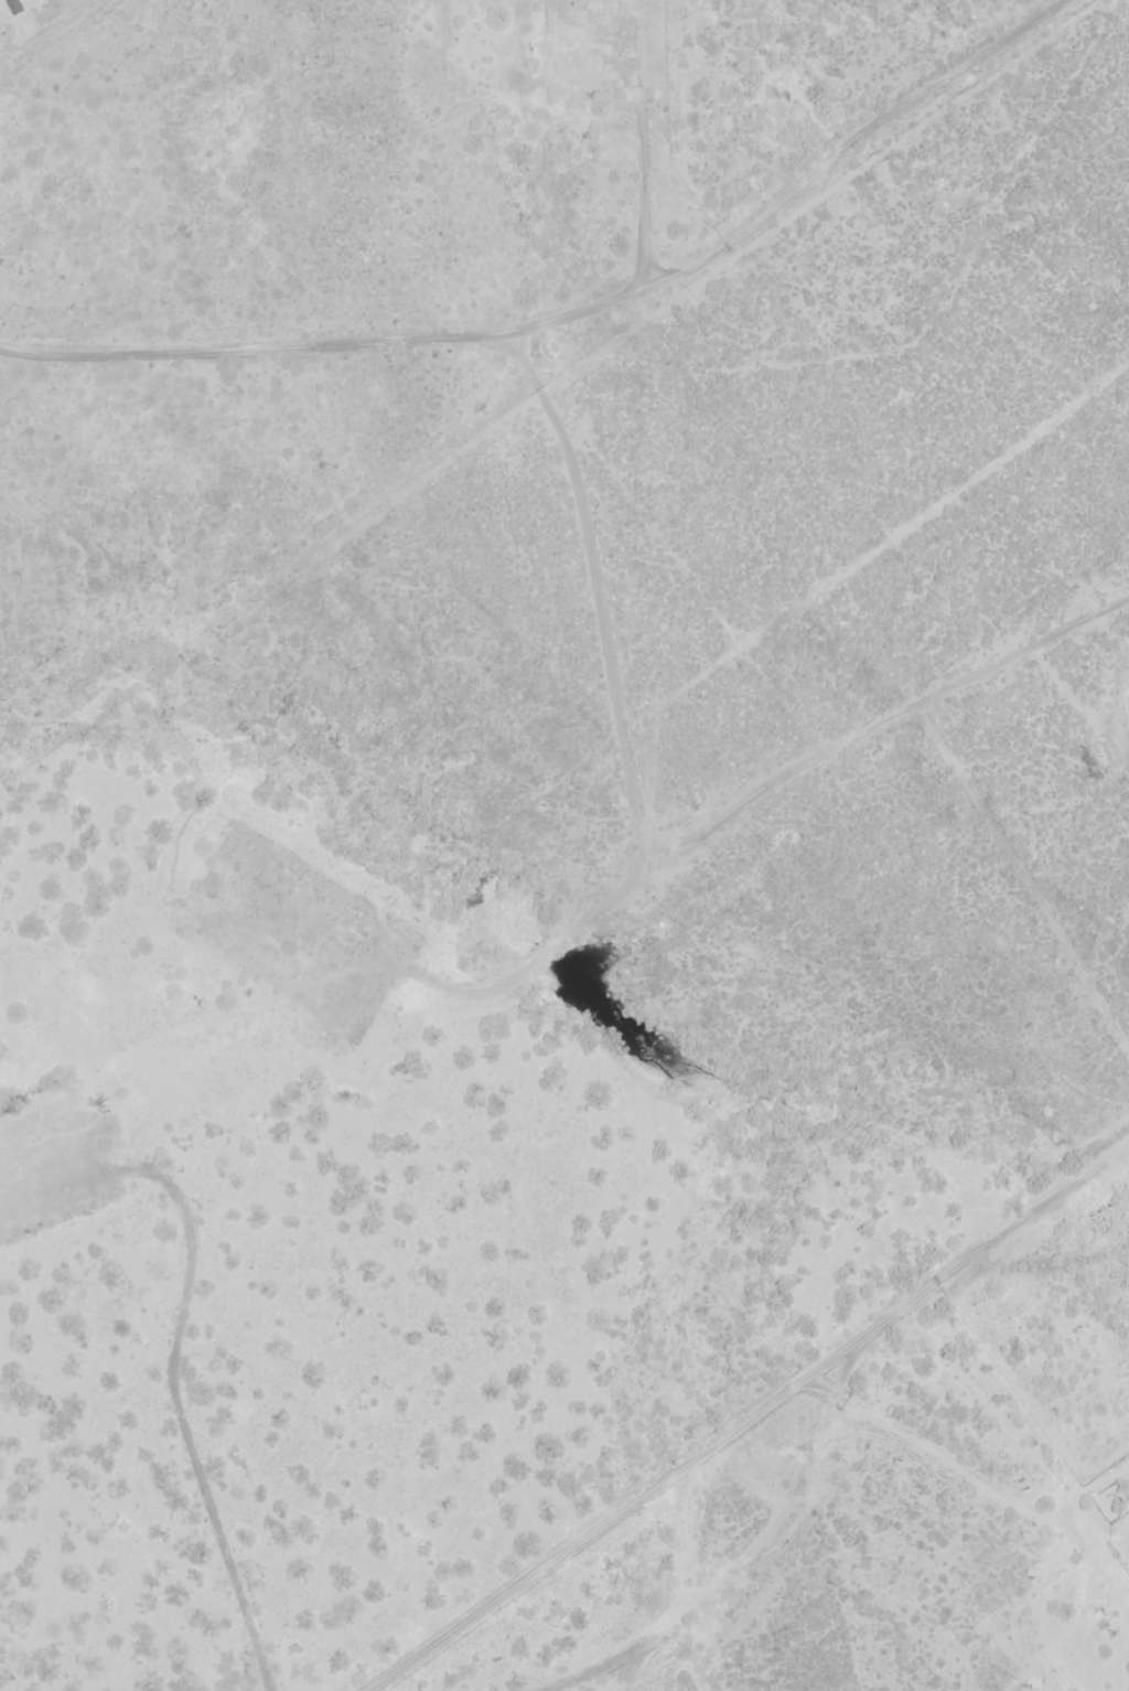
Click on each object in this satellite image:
road: (571, 293)
road: (865, 1403)

